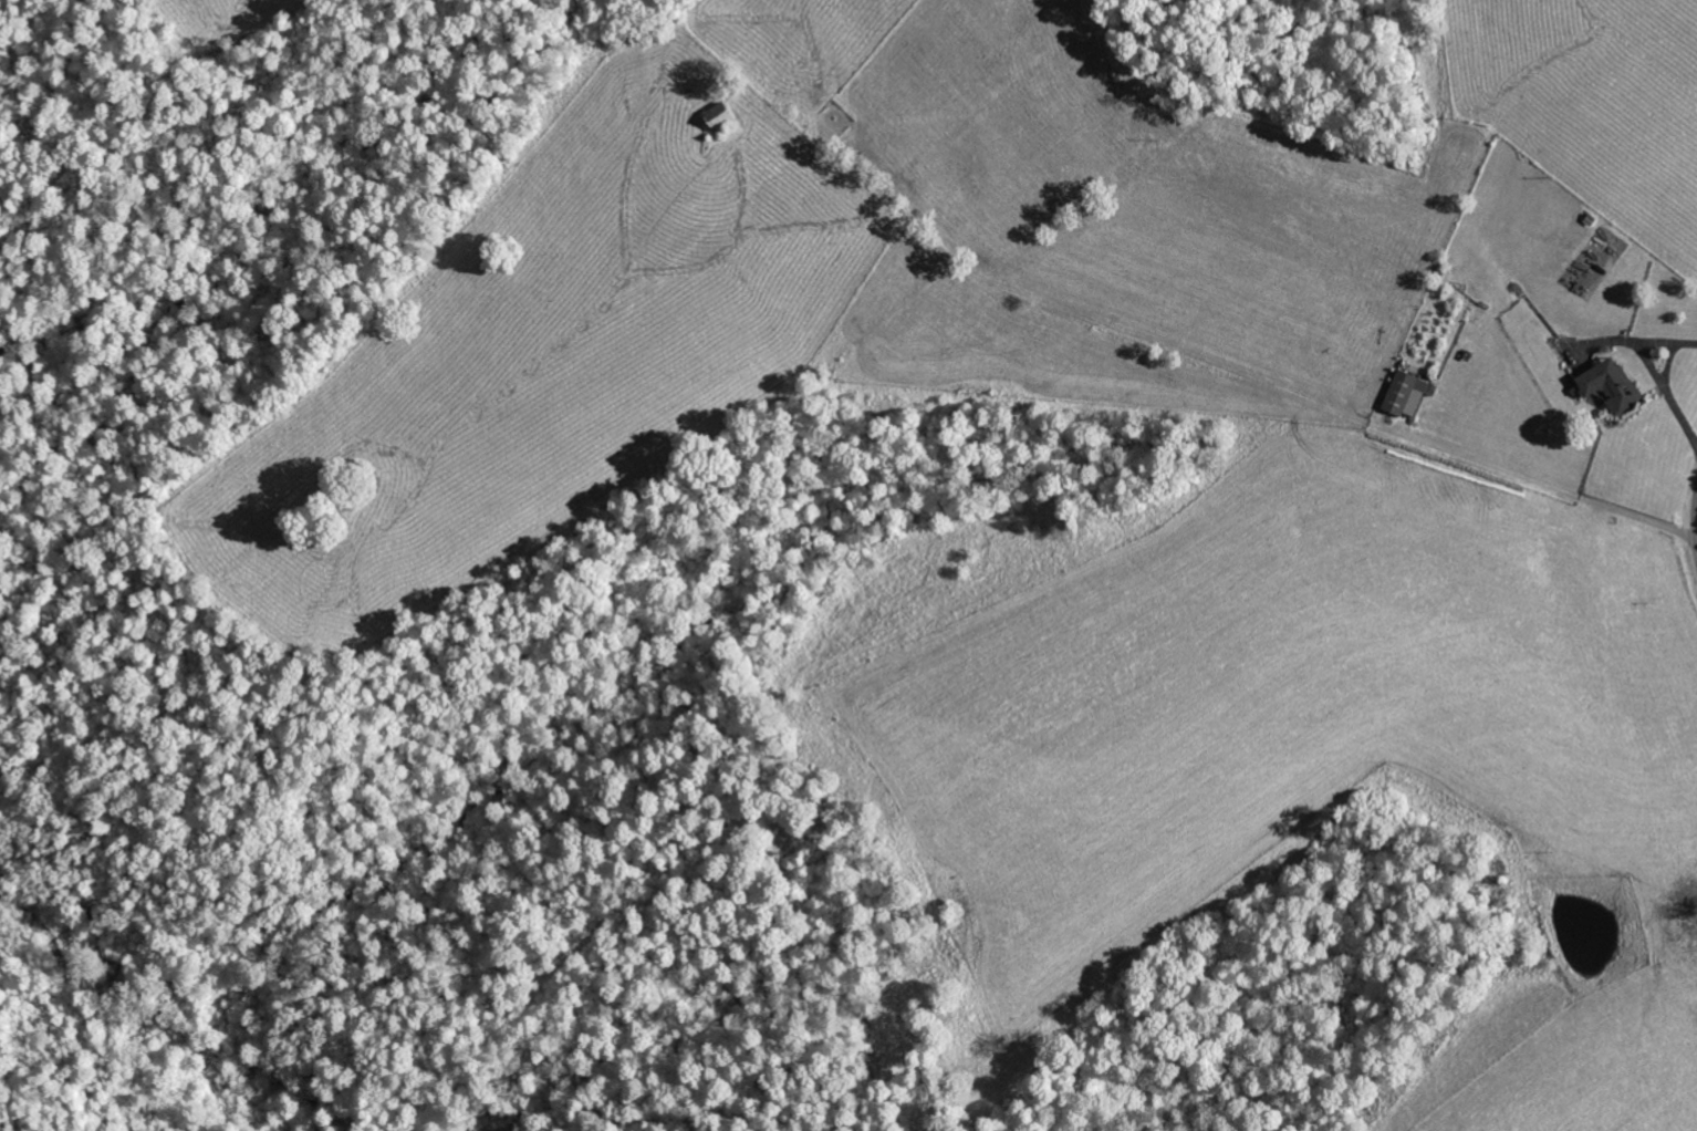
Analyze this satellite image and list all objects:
building: (1615, 386)
building: (1408, 395)

